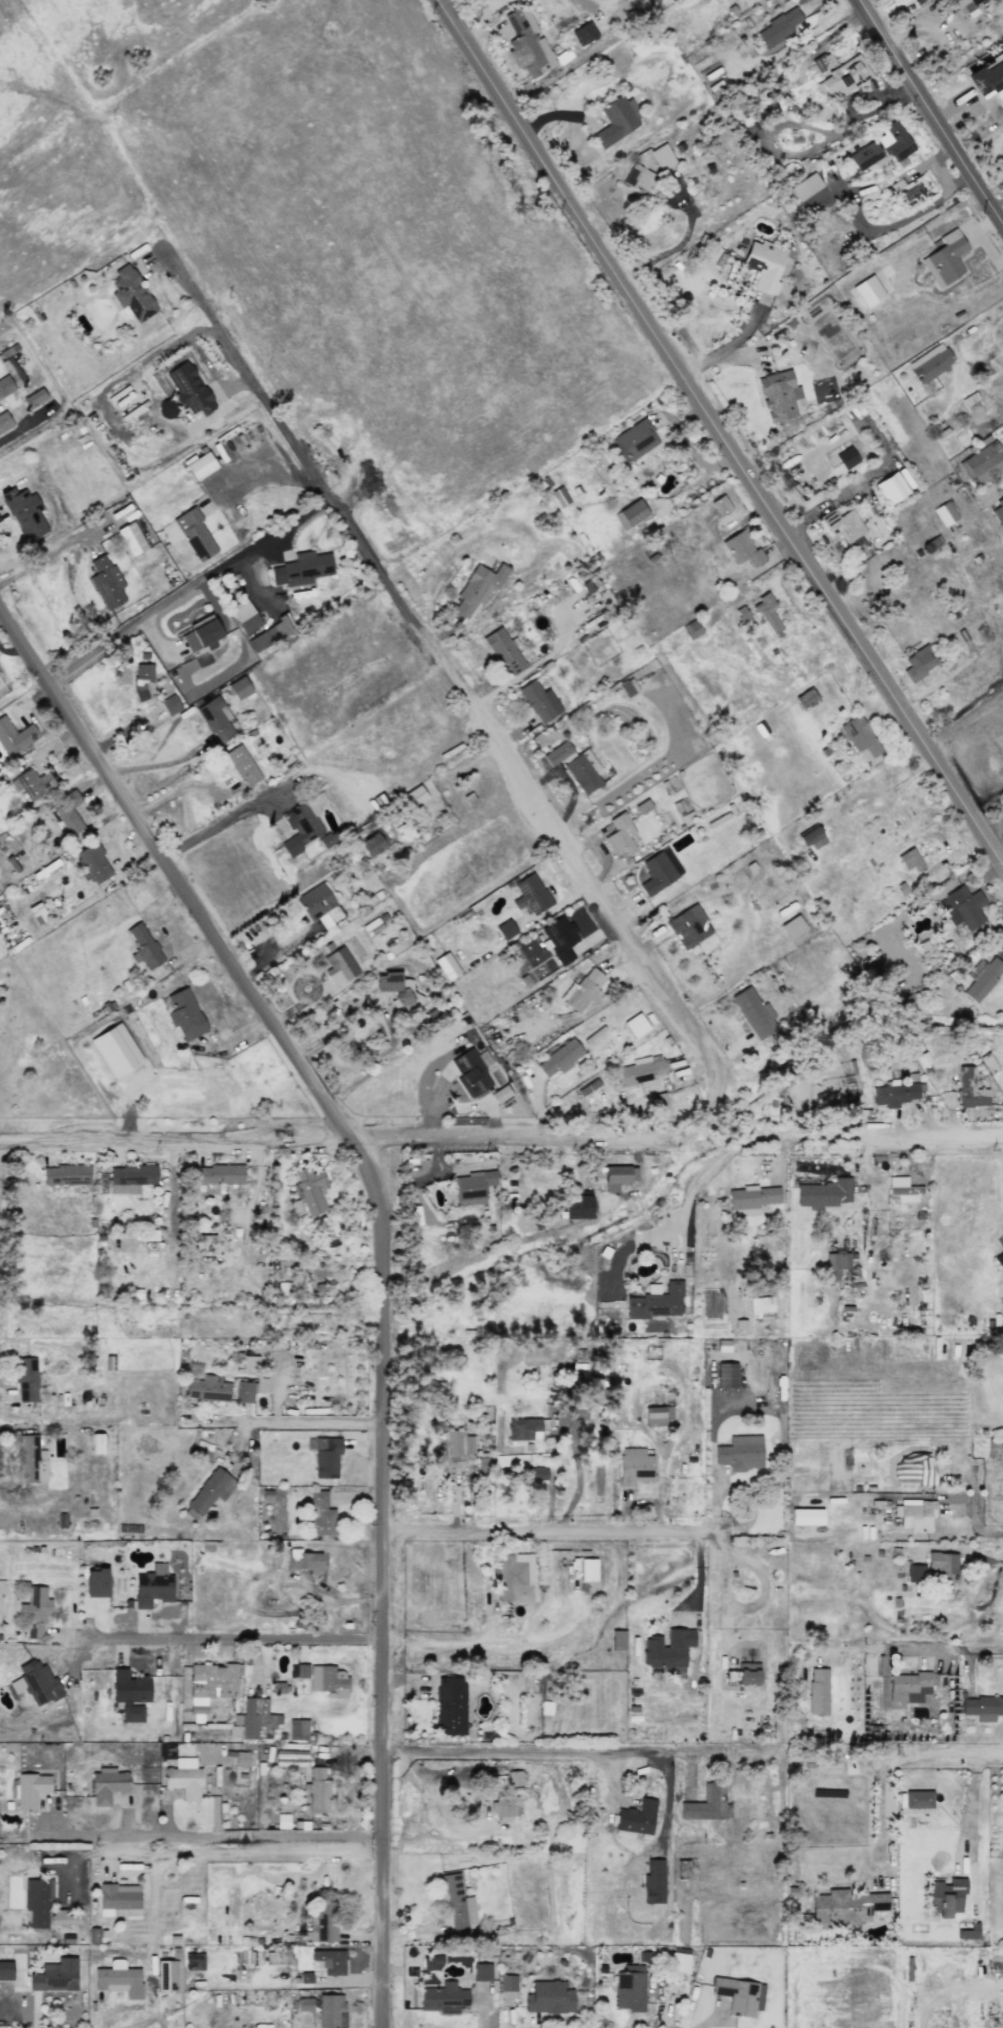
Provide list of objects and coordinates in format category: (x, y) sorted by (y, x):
building: (966, 5)
road: (590, 9)
road: (481, 20)
building: (778, 28)
building: (584, 33)
building: (527, 45)
building: (842, 78)
building: (988, 80)
road: (931, 110)
building: (616, 120)
road: (801, 123)
building: (894, 143)
building: (865, 156)
building: (656, 157)
building: (638, 179)
building: (805, 186)
road: (901, 221)
building: (947, 257)
building: (764, 264)
building: (868, 291)
building: (131, 294)
road: (996, 318)
road: (724, 349)
road: (969, 356)
building: (930, 363)
building: (10, 377)
building: (188, 389)
building: (778, 395)
building: (34, 400)
building: (4, 421)
road: (24, 425)
road: (720, 433)
building: (634, 441)
building: (846, 458)
building: (983, 463)
building: (200, 465)
road: (269, 469)
road: (865, 482)
building: (890, 488)
building: (720, 505)
building: (998, 511)
building: (24, 512)
building: (945, 513)
building: (630, 514)
building: (843, 524)
building: (195, 534)
building: (131, 538)
road: (56, 549)
building: (742, 549)
building: (301, 569)
building: (106, 582)
building: (477, 588)
road: (152, 612)
building: (767, 613)
building: (244, 616)
building: (692, 629)
building: (202, 634)
building: (271, 634)
building: (503, 651)
building: (919, 663)
building: (142, 678)
road: (457, 687)
building: (628, 687)
building: (239, 688)
building: (805, 699)
building: (539, 701)
building: (170, 704)
road: (963, 717)
building: (215, 718)
building: (15, 736)
building: (860, 738)
building: (558, 754)
building: (242, 765)
building: (583, 771)
building: (31, 785)
road: (176, 789)
building: (414, 796)
building: (642, 806)
building: (67, 812)
building: (303, 824)
road: (213, 826)
building: (620, 835)
building: (812, 838)
building: (328, 839)
building: (372, 843)
building: (909, 860)
road: (1001, 860)
building: (92, 863)
building: (659, 871)
road: (172, 873)
building: (531, 894)
building: (318, 905)
building: (962, 908)
building: (689, 926)
building: (792, 927)
building: (505, 929)
building: (560, 938)
building: (144, 947)
building: (339, 966)
building: (446, 966)
building: (982, 978)
building: (397, 988)
building: (581, 991)
road: (379, 1011)
building: (754, 1013)
building: (184, 1014)
building: (635, 1025)
building: (116, 1050)
building: (560, 1057)
building: (641, 1071)
building: (470, 1073)
building: (970, 1089)
building: (500, 1094)
building: (894, 1094)
road: (516, 1134)
road: (879, 1135)
road: (174, 1138)
building: (66, 1175)
building: (219, 1175)
building: (618, 1177)
building: (130, 1178)
building: (473, 1187)
road: (691, 1188)
building: (309, 1190)
building: (903, 1190)
building: (824, 1194)
building: (751, 1200)
building: (577, 1207)
building: (998, 1259)
building: (837, 1266)
building: (655, 1302)
building: (760, 1305)
building: (249, 1362)
building: (726, 1375)
building: (26, 1379)
building: (208, 1388)
building: (249, 1389)
building: (654, 1416)
road: (313, 1420)
building: (526, 1428)
building: (96, 1443)
building: (459, 1444)
building: (740, 1453)
building: (326, 1457)
building: (31, 1460)
building: (634, 1467)
building: (915, 1469)
building: (536, 1474)
building: (209, 1492)
building: (320, 1515)
building: (916, 1515)
road: (975, 1522)
road: (544, 1531)
road: (997, 1560)
building: (303, 1561)
building: (588, 1569)
building: (943, 1569)
building: (915, 1573)
road: (383, 1577)
building: (516, 1578)
road: (258, 1580)
building: (96, 1583)
building: (152, 1586)
building: (34, 1611)
road: (230, 1636)
building: (618, 1640)
building: (667, 1648)
road: (905, 1650)
building: (299, 1670)
building: (748, 1674)
building: (329, 1681)
building: (35, 1683)
building: (210, 1684)
building: (129, 1687)
building: (909, 1687)
building: (816, 1691)
building: (450, 1706)
building: (982, 1708)
building: (132, 1713)
building: (256, 1716)
building: (298, 1729)
road: (538, 1750)
road: (938, 1753)
building: (241, 1758)
building: (291, 1758)
building: (510, 1778)
building: (184, 1779)
building: (107, 1785)
building: (30, 1790)
building: (318, 1790)
building: (918, 1799)
building: (707, 1804)
building: (502, 1808)
building: (636, 1818)
road: (875, 1820)
road: (94, 1837)
road: (260, 1839)
building: (946, 1896)
building: (119, 1899)
building: (37, 1900)
building: (455, 1903)
building: (845, 1908)
building: (63, 1918)
building: (968, 1932)
building: (194, 1961)
building: (327, 1962)
building: (431, 1962)
building: (678, 1962)
building: (6, 1970)
building: (481, 1972)
building: (166, 1975)
building: (55, 1976)
building: (119, 1979)
building: (507, 1983)
building: (629, 1988)
building: (739, 1995)
building: (443, 1998)
building: (548, 1998)
building: (326, 2009)
road: (921, 2014)

